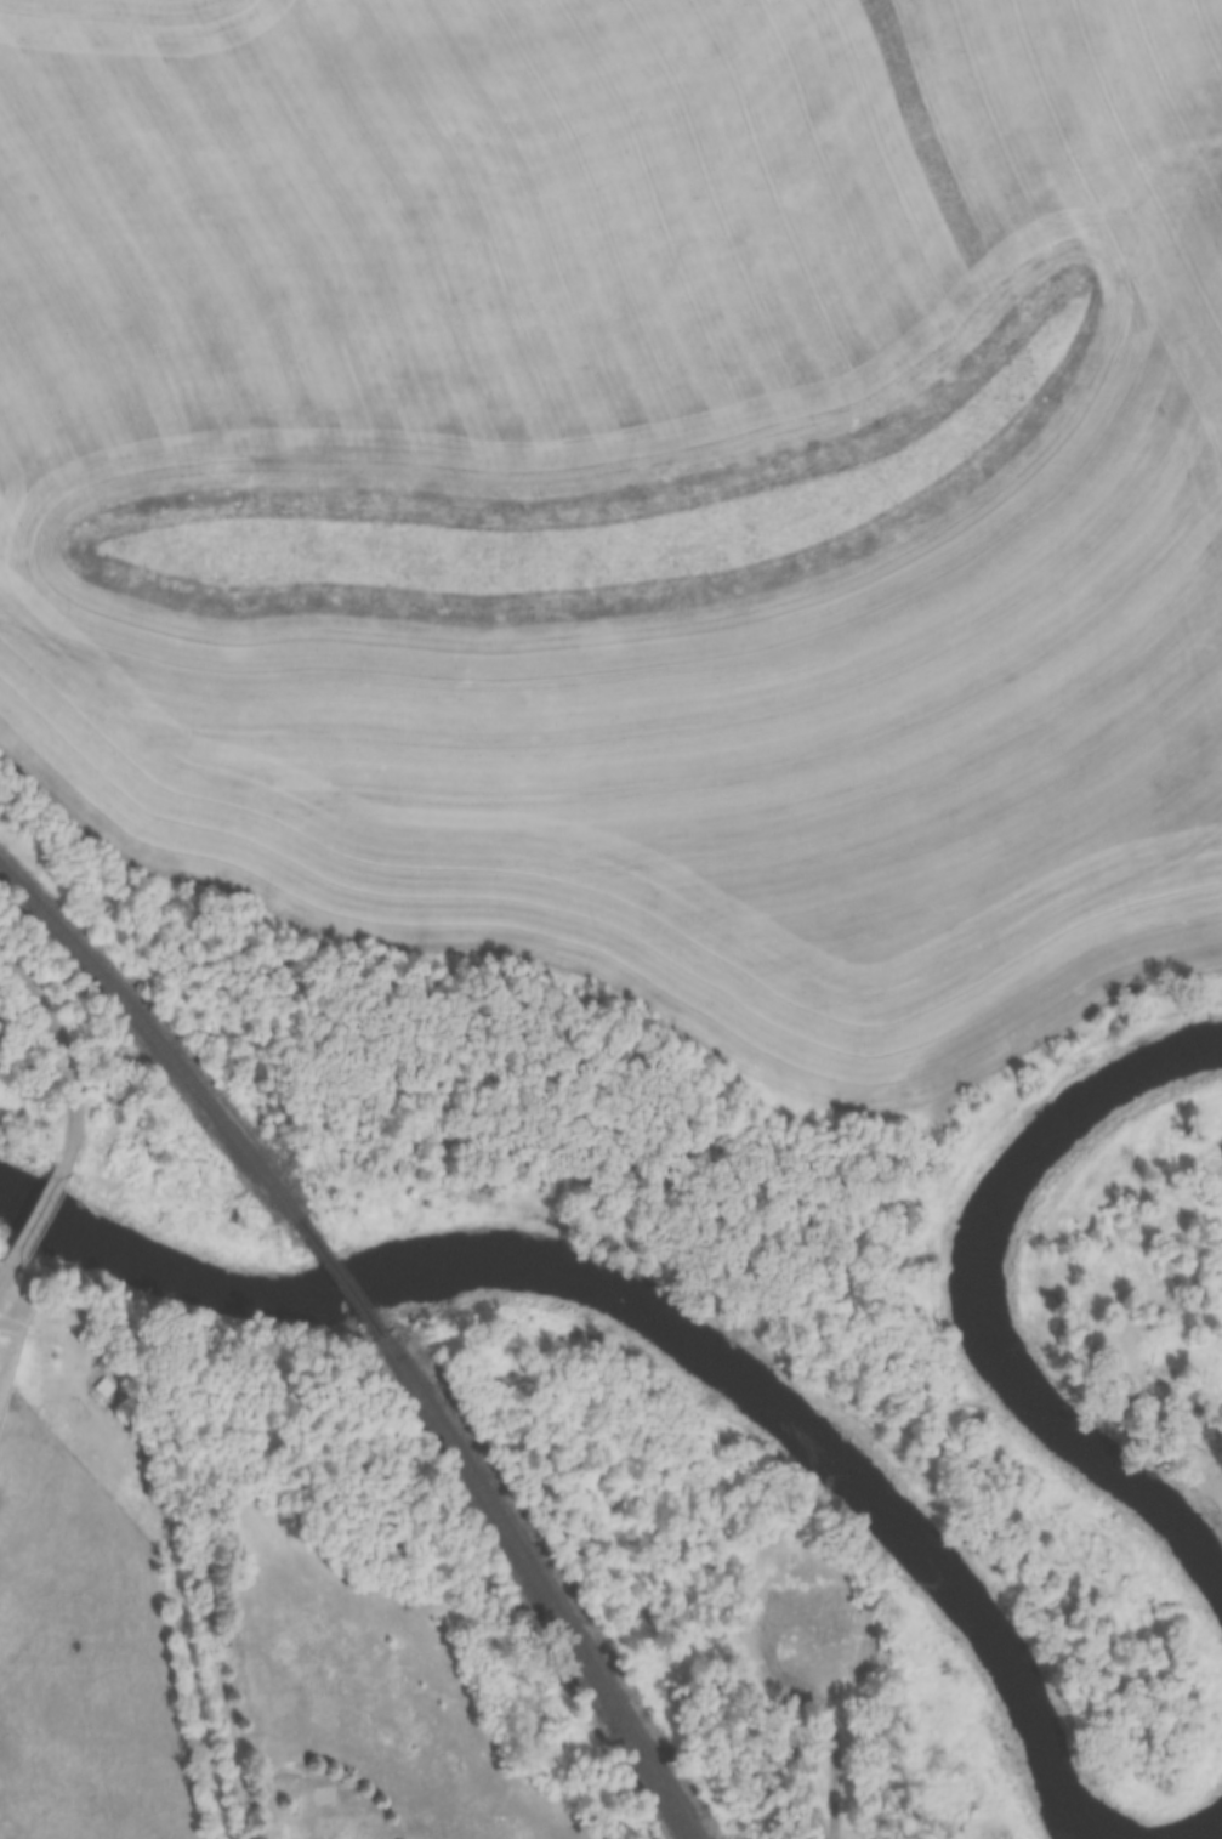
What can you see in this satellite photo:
railway: (153, 1041)
road: (64, 1055)
road: (34, 1214)
road: (2, 1265)
road: (5, 1266)
railway: (339, 1277)
river: (973, 1311)
river: (653, 1330)
railway: (538, 1587)
building: (811, 1611)
road: (826, 1738)
river: (1207, 1822)

